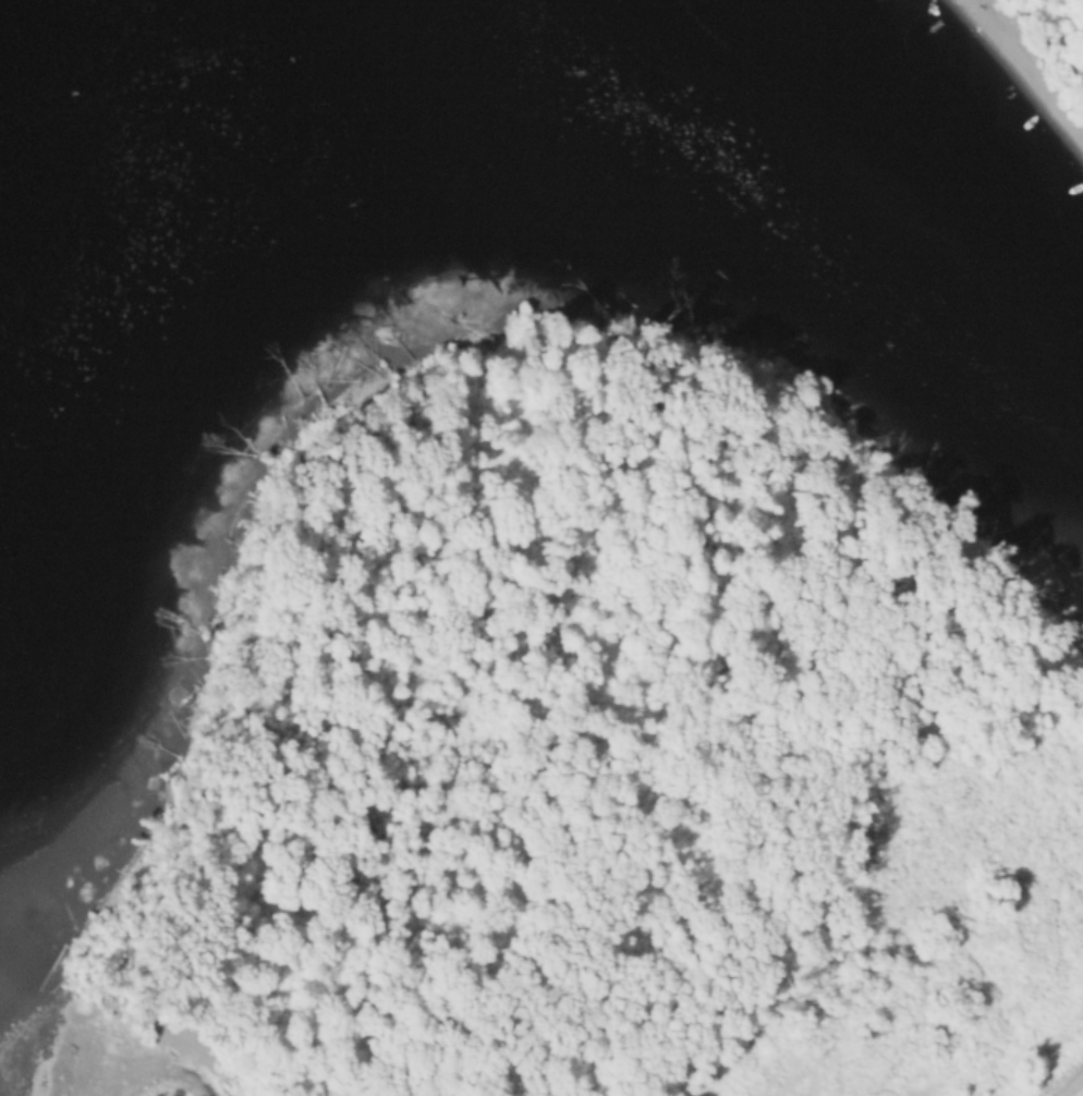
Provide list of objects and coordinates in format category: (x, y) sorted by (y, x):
river: (873, 199)
road: (1072, 1085)

